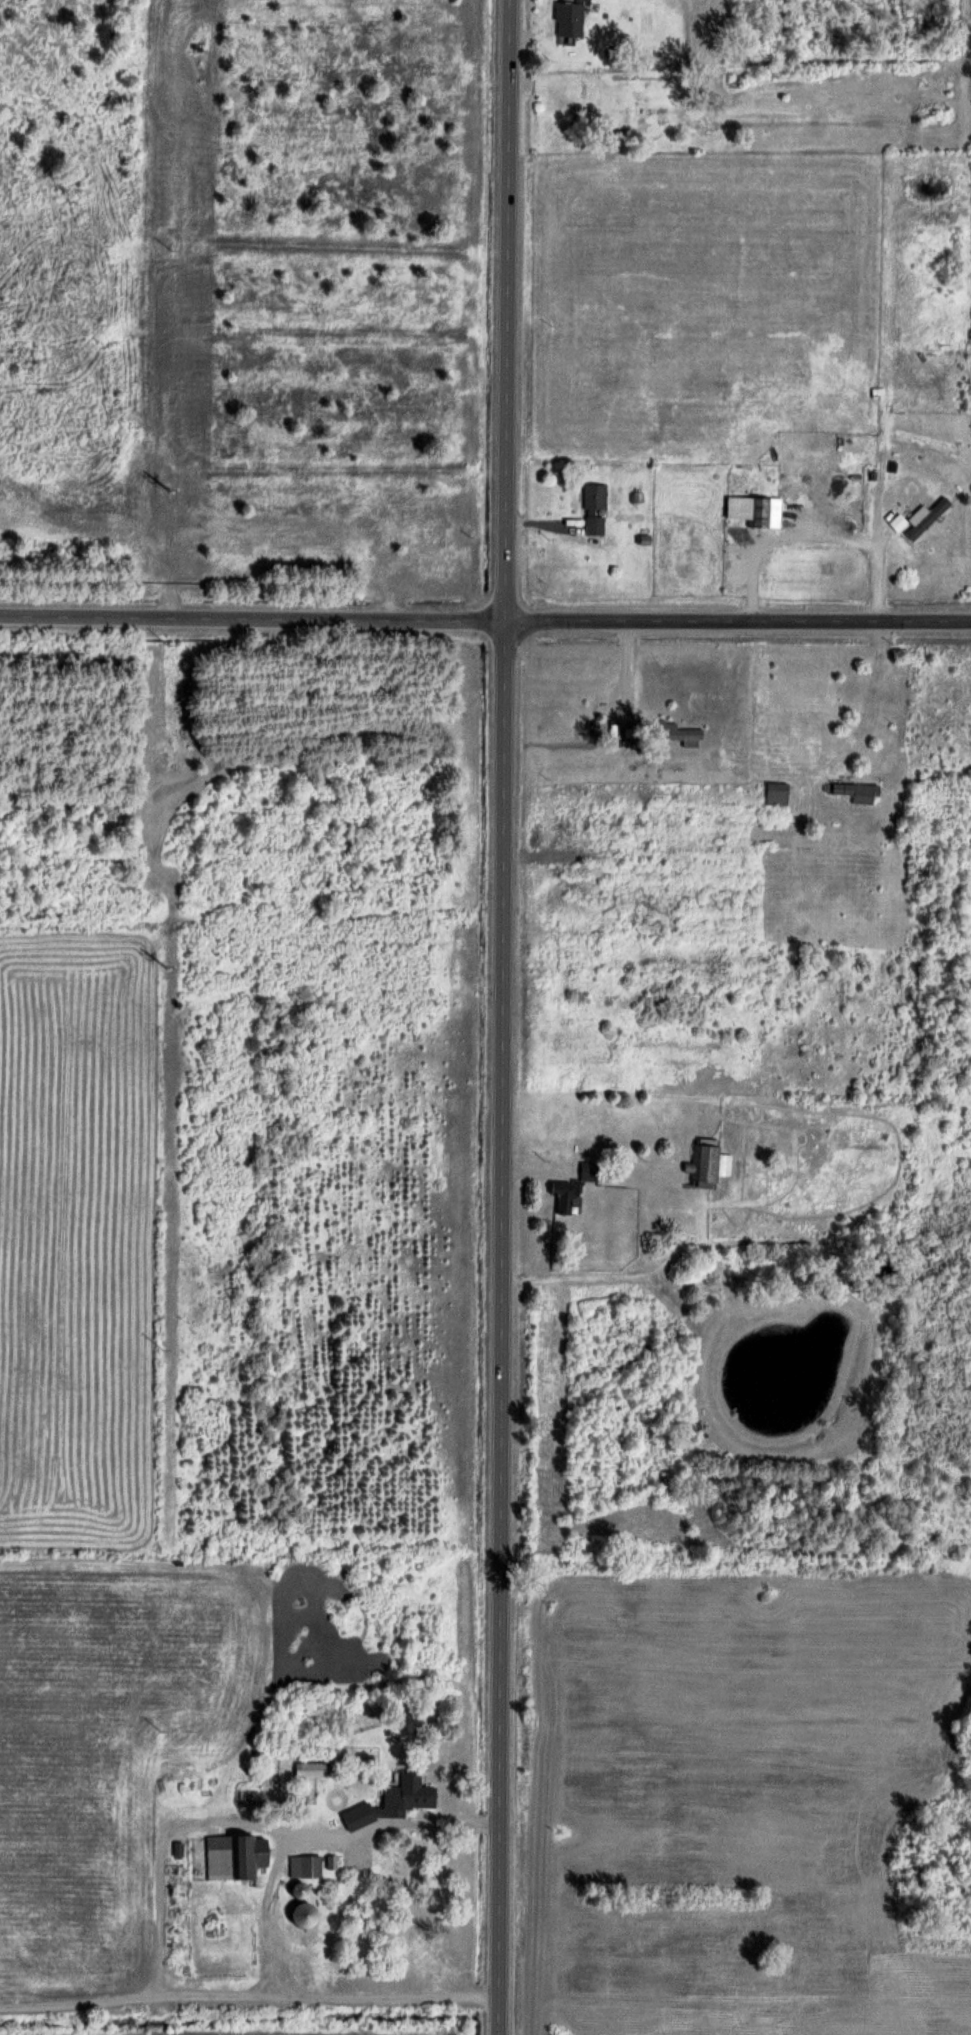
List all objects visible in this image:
building: (568, 19)
power tower: (170, 484)
building: (594, 509)
building: (754, 510)
building: (919, 519)
road: (251, 618)
road: (737, 621)
building: (675, 732)
building: (857, 791)
building: (777, 793)
road: (502, 1017)
building: (708, 1164)
building: (588, 1170)
building: (564, 1194)
building: (310, 1769)
building: (393, 1801)
building: (234, 1856)
building: (304, 1866)
building: (301, 1913)

